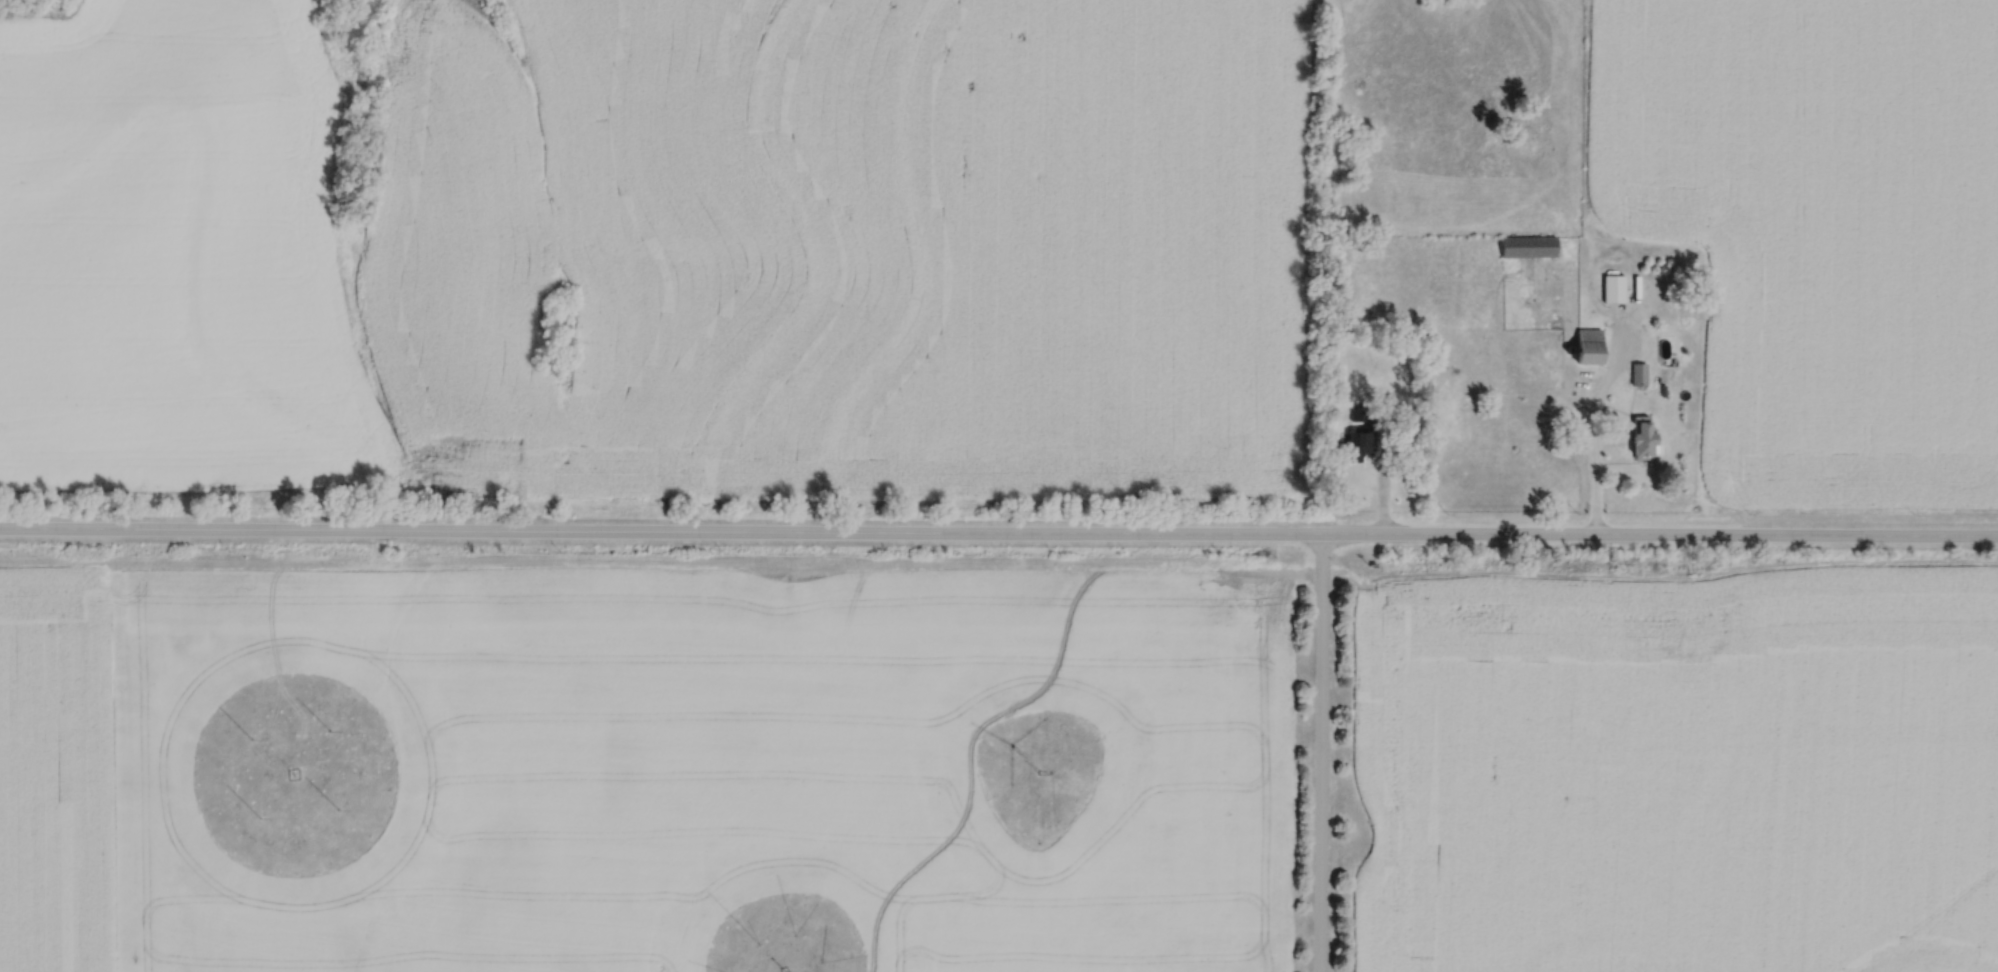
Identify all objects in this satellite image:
building: (1529, 246)
building: (1615, 289)
building: (1591, 346)
building: (1639, 373)
building: (1358, 415)
road: (1592, 435)
building: (1645, 437)
building: (1360, 445)
road: (998, 531)
road: (1658, 577)
road: (364, 624)
road: (1038, 687)
road: (1320, 752)

